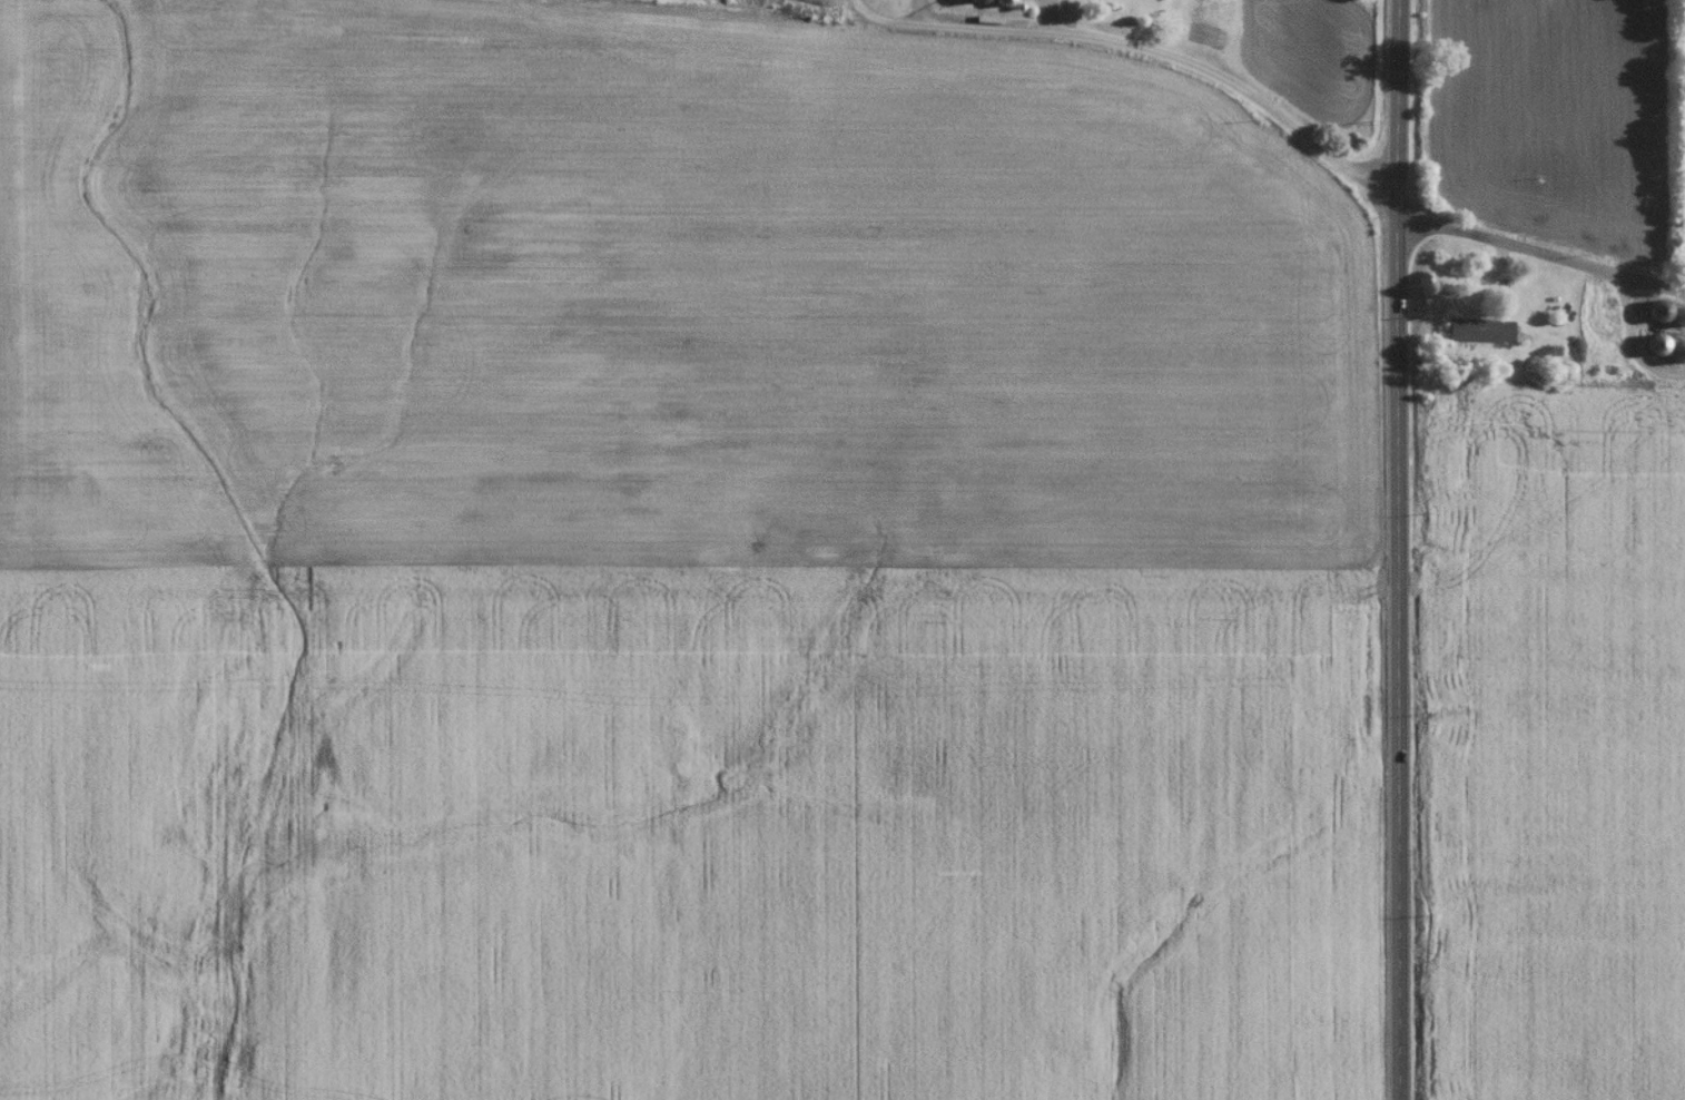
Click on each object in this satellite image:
road: (923, 13)
road: (1046, 14)
road: (884, 23)
road: (1310, 136)
building: (1650, 315)
building: (1590, 325)
building: (1475, 335)
building: (1646, 348)
building: (1674, 357)
road: (1398, 549)

